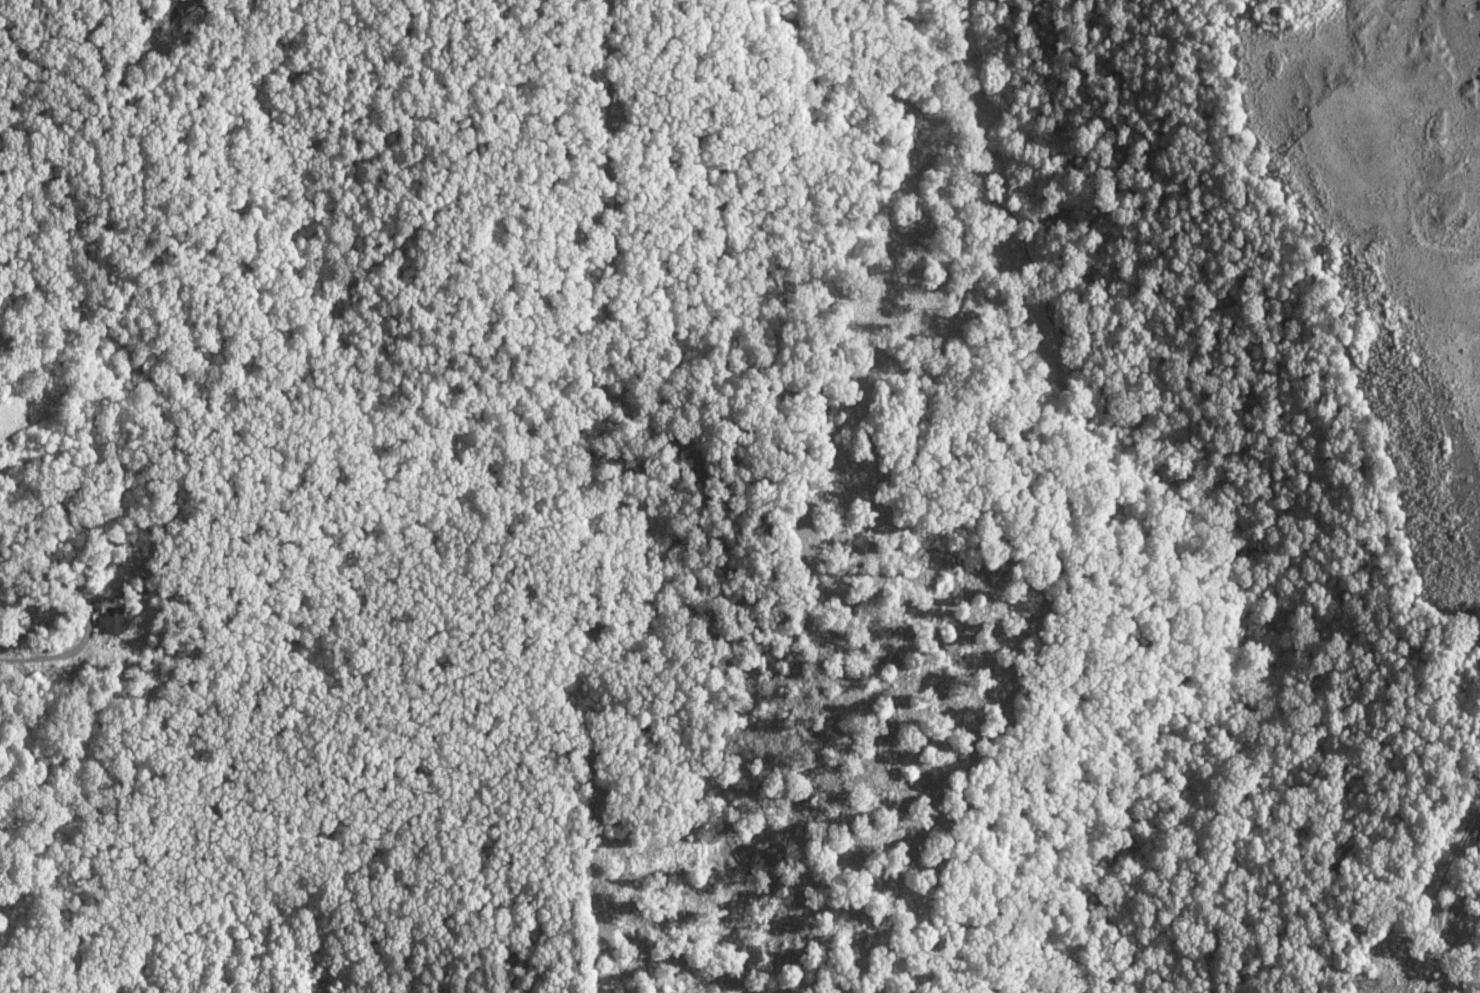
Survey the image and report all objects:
quarry: (1392, 233)
building: (113, 618)

